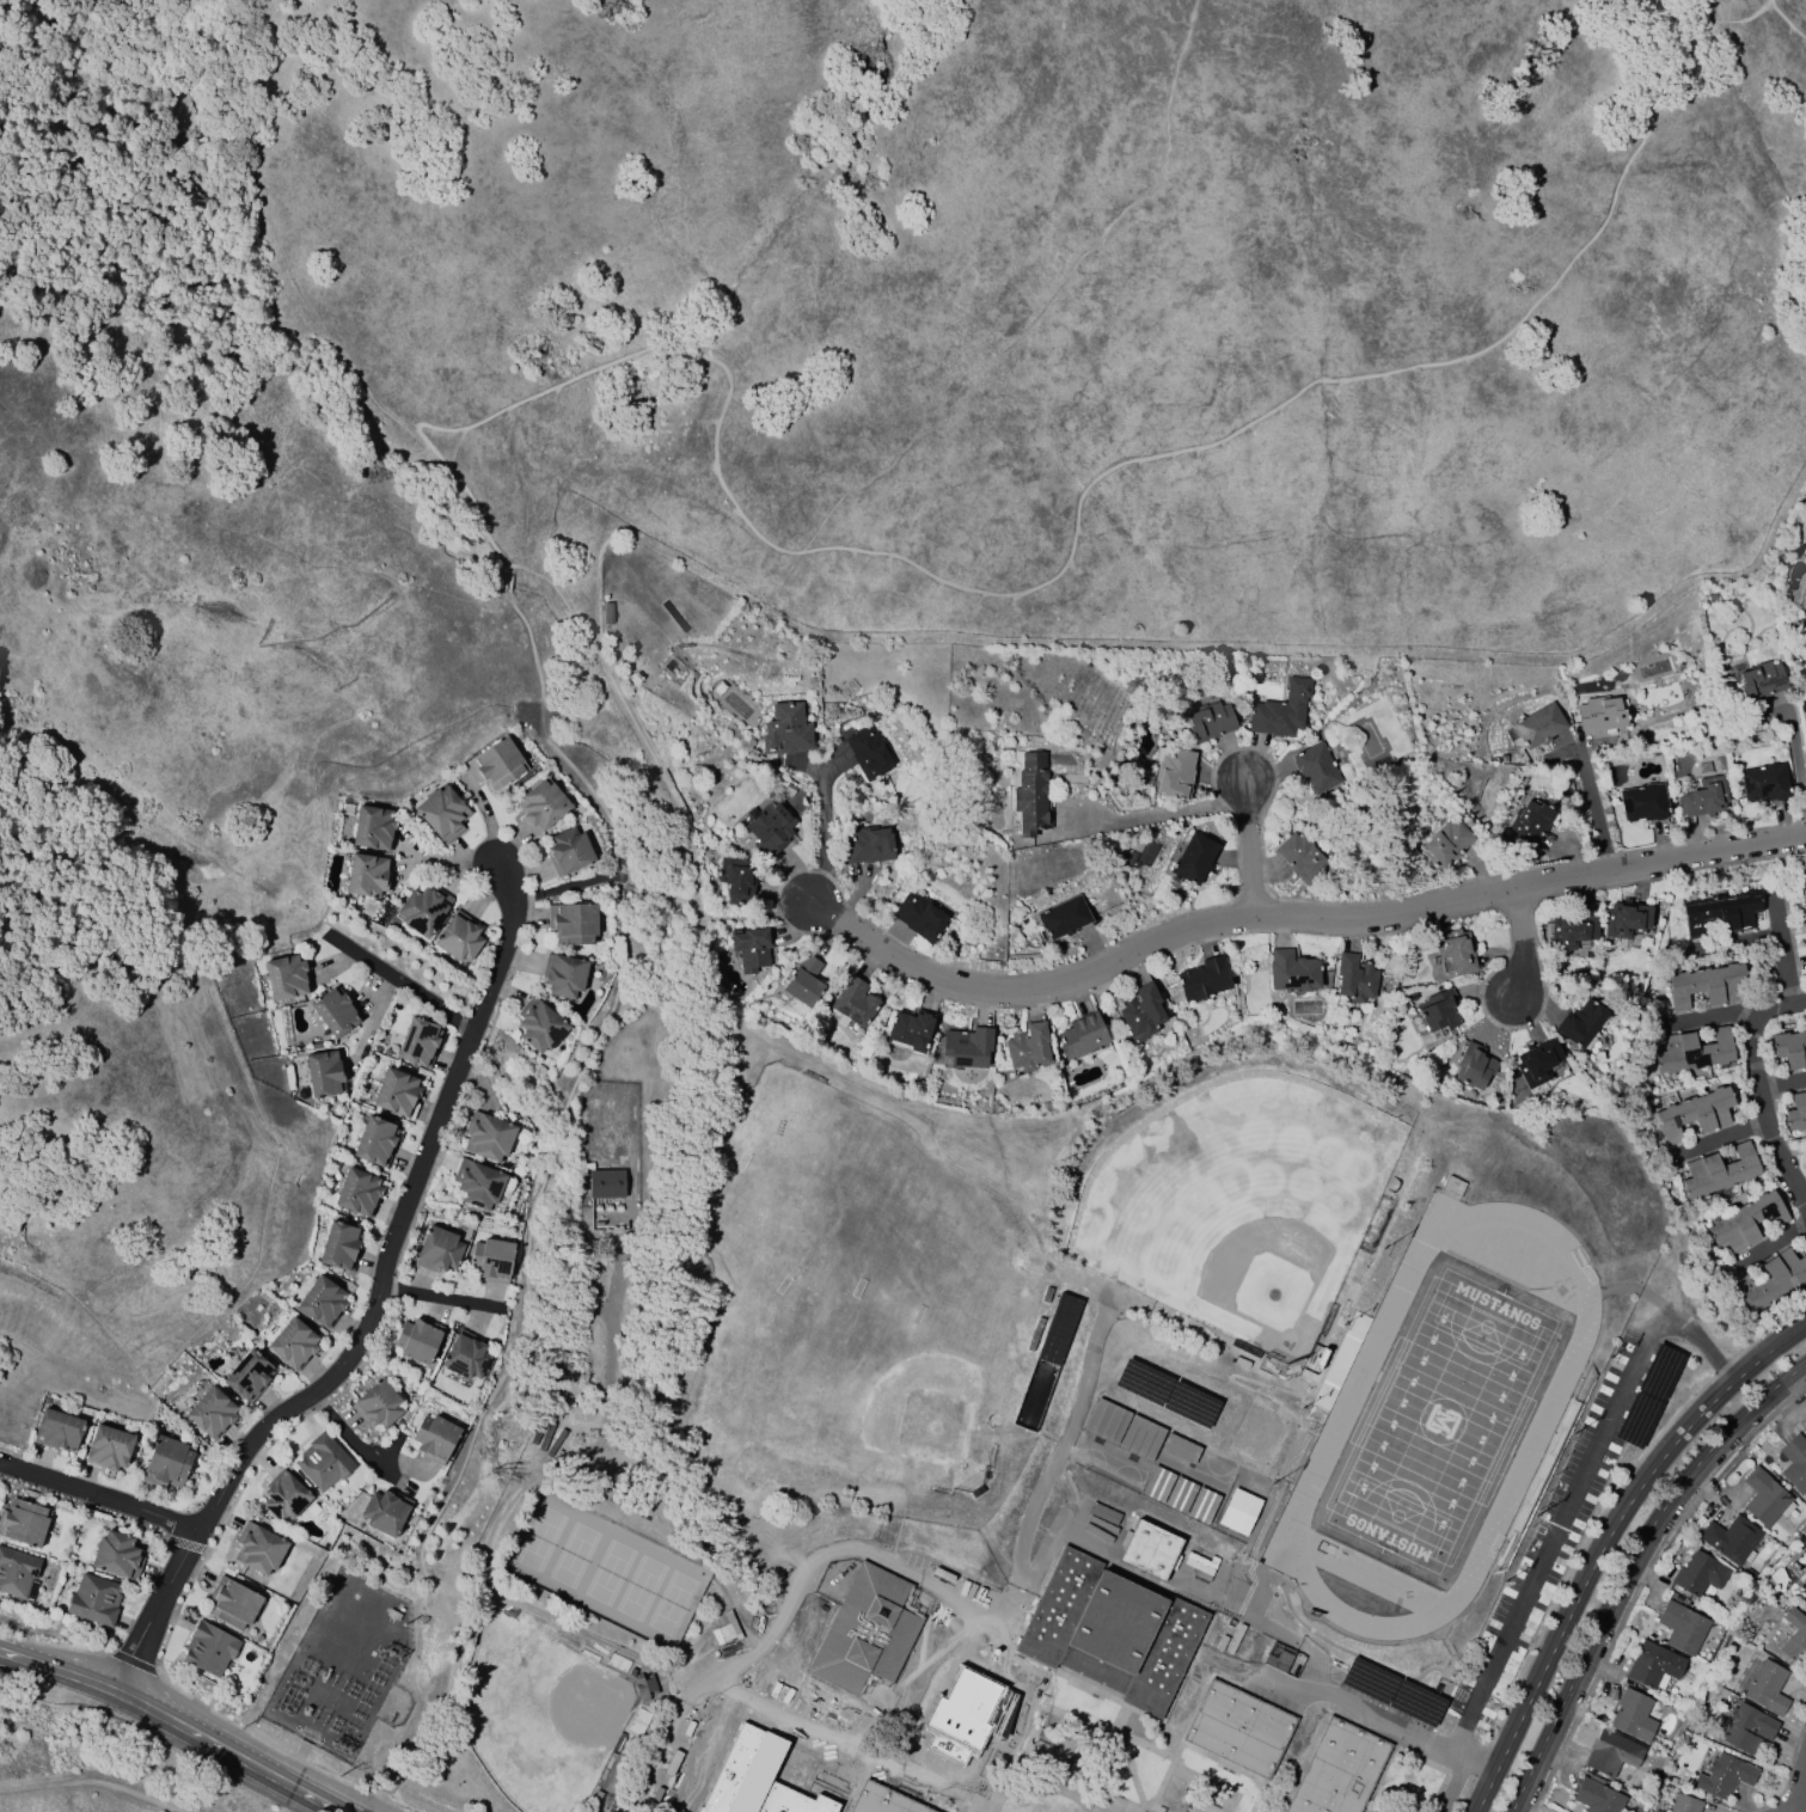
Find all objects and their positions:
road: (1786, 23)
road: (577, 378)
building: (1800, 649)
building: (1758, 682)
building: (1280, 710)
building: (1600, 714)
building: (1210, 722)
building: (1538, 726)
building: (785, 729)
road: (1796, 740)
building: (868, 752)
road: (1585, 752)
building: (495, 764)
building: (1315, 769)
building: (1174, 773)
building: (1763, 783)
building: (1030, 796)
building: (1703, 797)
building: (1642, 803)
building: (540, 807)
building: (441, 813)
road: (1156, 815)
building: (1529, 824)
building: (372, 828)
building: (770, 828)
road: (826, 834)
building: (1446, 843)
building: (867, 845)
road: (1250, 847)
building: (567, 851)
building: (1299, 857)
building: (1193, 859)
building: (366, 876)
building: (736, 880)
building: (1802, 889)
building: (423, 910)
building: (1721, 913)
road: (1294, 916)
building: (918, 917)
building: (1063, 917)
building: (1805, 918)
building: (1624, 919)
building: (571, 924)
building: (1571, 931)
building: (458, 937)
road: (1520, 941)
road: (1737, 942)
building: (753, 948)
road: (1781, 948)
building: (1455, 950)
building: (1292, 972)
building: (563, 974)
building: (286, 977)
building: (1354, 978)
building: (1202, 979)
road: (400, 980)
building: (803, 980)
building: (1707, 985)
building: (852, 1002)
building: (333, 1011)
building: (1140, 1011)
building: (1438, 1011)
road: (1709, 1016)
building: (1580, 1023)
building: (538, 1026)
building: (910, 1029)
building: (1080, 1035)
building: (418, 1042)
building: (967, 1046)
building: (1027, 1048)
building: (1790, 1048)
building: (1694, 1051)
building: (1536, 1063)
building: (1473, 1066)
building: (325, 1073)
road: (1781, 1084)
road: (1757, 1089)
building: (397, 1094)
building: (1694, 1113)
building: (1795, 1113)
building: (486, 1137)
road: (1718, 1140)
building: (375, 1141)
building: (1719, 1170)
building: (477, 1183)
building: (605, 1183)
building: (357, 1193)
park: (1236, 1199)
building: (1745, 1222)
road: (1767, 1245)
building: (339, 1247)
building: (437, 1249)
building: (491, 1260)
building: (1771, 1280)
road: (439, 1298)
building: (322, 1302)
road: (373, 1312)
park: (810, 1320)
building: (1058, 1329)
building: (417, 1340)
building: (293, 1343)
road: (1706, 1347)
building: (465, 1355)
building: (247, 1376)
building: (378, 1406)
building: (210, 1413)
park: (926, 1419)
stadium: (1437, 1420)
park: (1440, 1420)
building: (1805, 1420)
track: (1335, 1425)
building: (56, 1431)
building: (537, 1431)
building: (545, 1437)
road: (351, 1438)
building: (434, 1438)
building: (555, 1443)
building: (108, 1449)
building: (166, 1462)
building: (323, 1462)
building: (1794, 1462)
building: (1179, 1494)
road: (98, 1495)
building: (283, 1496)
building: (1765, 1499)
building: (384, 1512)
building: (1243, 1513)
building: (24, 1523)
parking lot: (1557, 1526)
road: (1556, 1528)
building: (1731, 1538)
road: (1605, 1543)
building: (257, 1549)
building: (1155, 1551)
building: (116, 1555)
road: (1626, 1565)
building: (17, 1573)
park: (607, 1573)
building: (1697, 1573)
building: (1805, 1594)
building: (93, 1599)
building: (1805, 1602)
building: (232, 1604)
road: (784, 1620)
building: (1681, 1628)
building: (869, 1633)
building: (1115, 1633)
building: (1793, 1635)
building: (208, 1648)
power substation: (339, 1665)
building: (1653, 1665)
building: (643, 1686)
building: (1767, 1686)
parking lot: (1345, 1703)
road: (1359, 1709)
building: (1631, 1715)
building: (961, 1716)
road: (1124, 1719)
road: (173, 1722)
building: (714, 1724)
road: (792, 1725)
building: (1746, 1727)
building: (1241, 1730)
building: (1611, 1753)
park: (115, 1755)
building: (786, 1761)
road: (1473, 1761)
crop: (98, 1768)
building: (1341, 1770)
building: (1724, 1776)
road: (1039, 1781)
road: (936, 1785)
road: (1452, 1785)
road: (1800, 1787)
building: (1598, 1796)
building: (886, 1800)
building: (1684, 1804)
road: (1784, 1805)
road: (1119, 1808)

